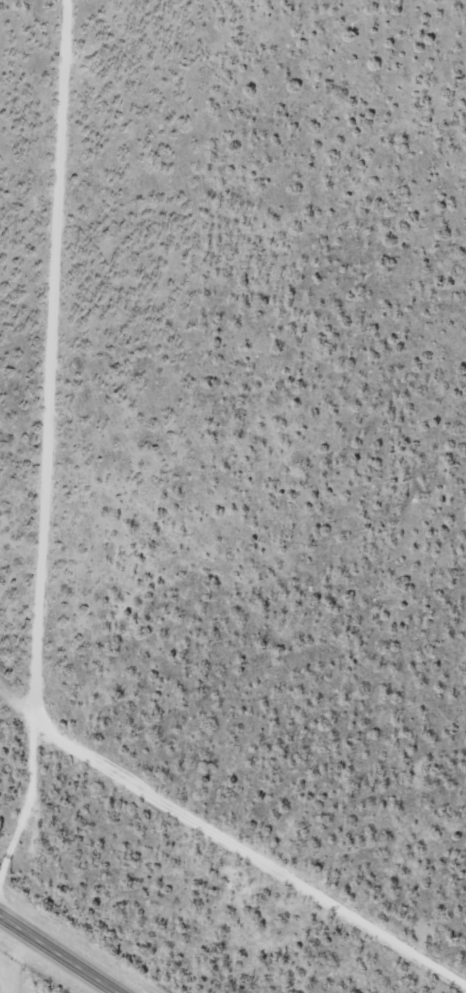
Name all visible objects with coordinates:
road: (35, 440)
road: (10, 920)
road: (10, 956)
road: (69, 960)

